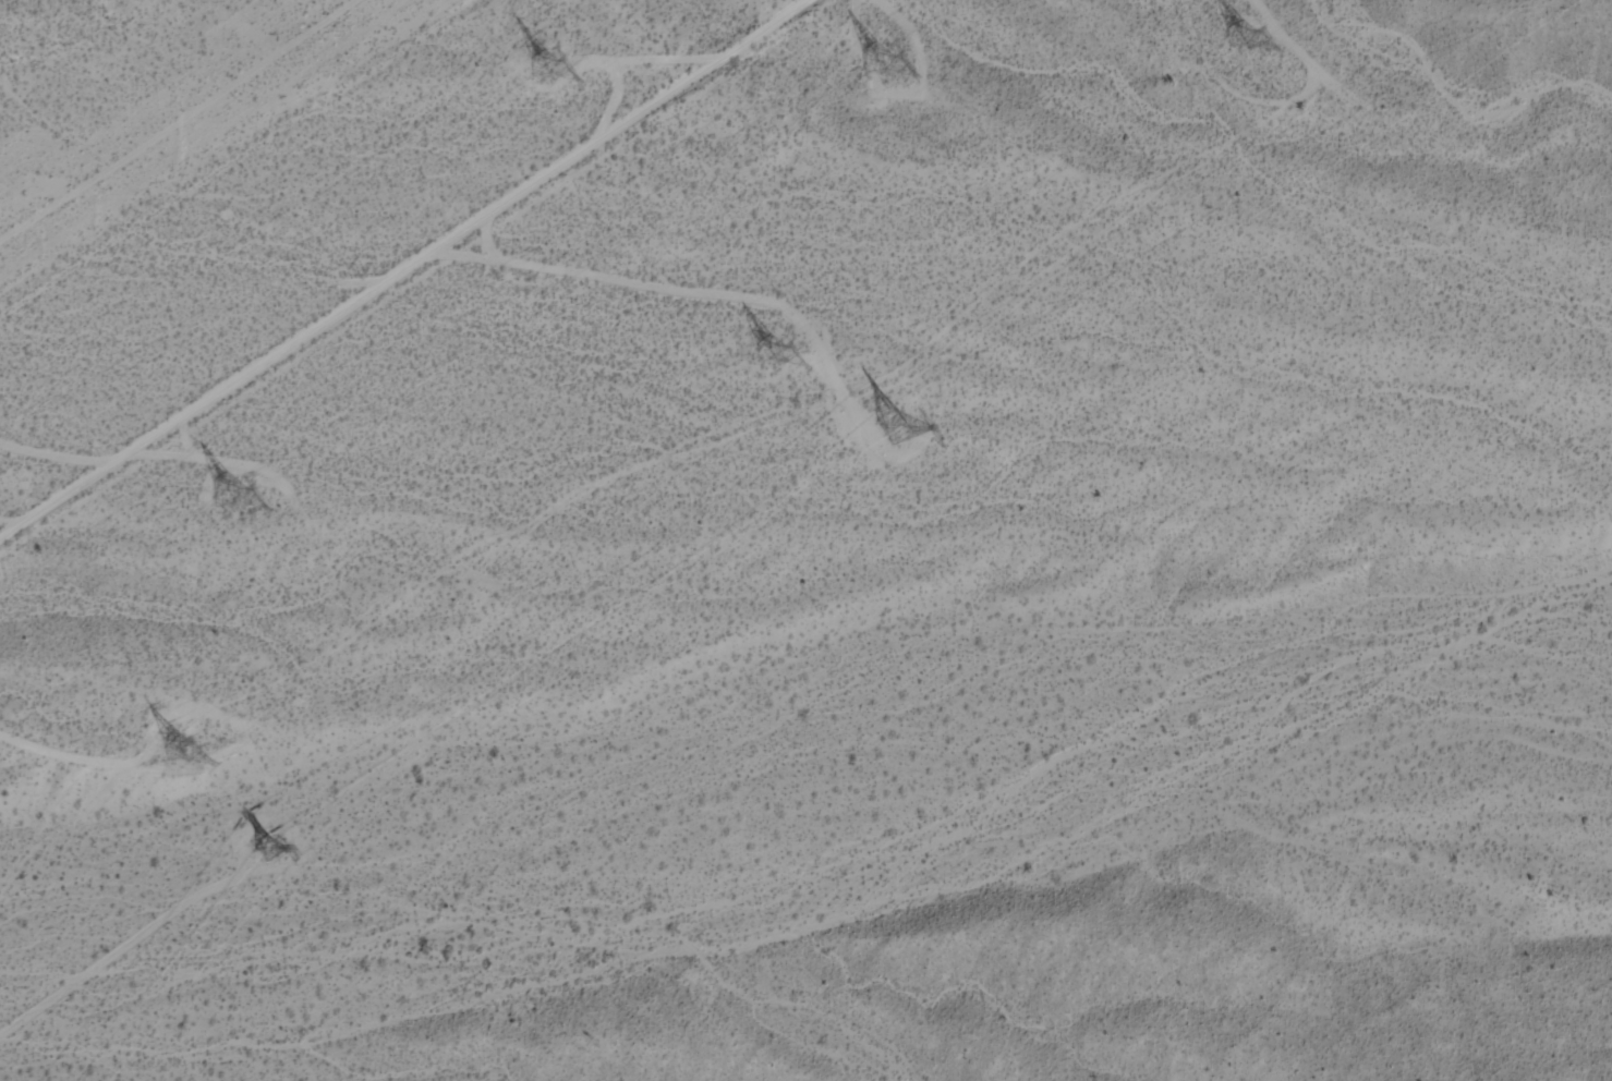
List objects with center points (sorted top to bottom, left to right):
power tower: (1226, 26)
power tower: (524, 58)
power tower: (853, 69)
road: (402, 269)
power tower: (757, 343)
power tower: (885, 432)
power tower: (219, 490)
power tower: (174, 744)
power tower: (254, 845)

